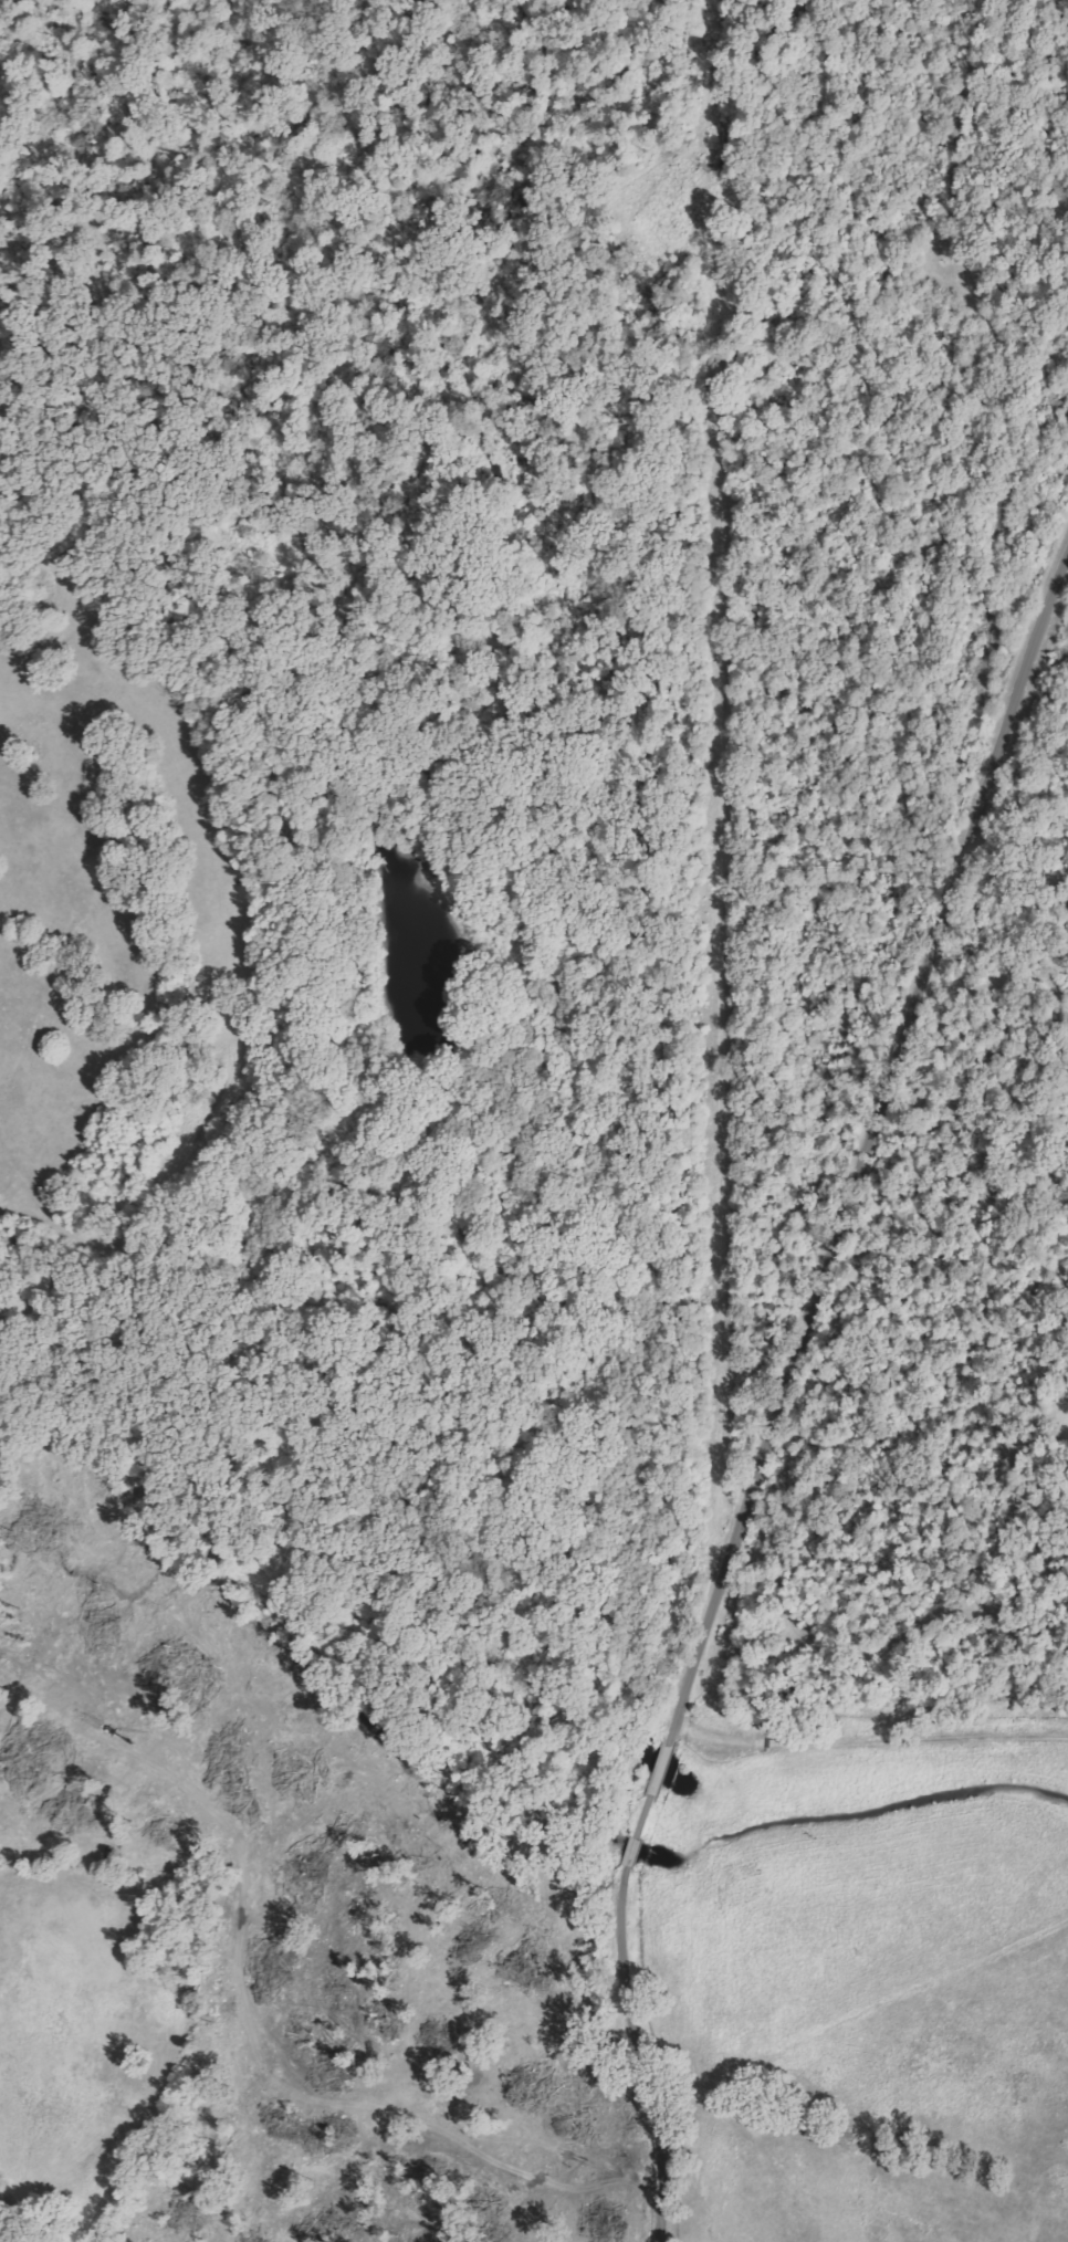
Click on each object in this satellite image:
road: (783, 1387)

